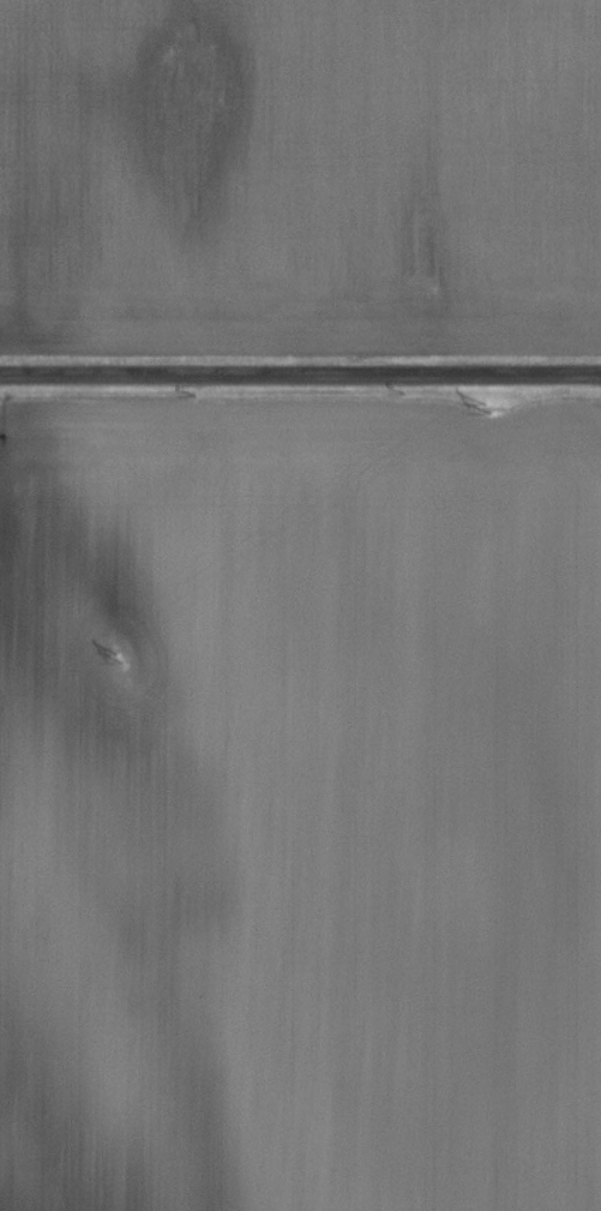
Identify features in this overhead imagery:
road: (300, 371)

